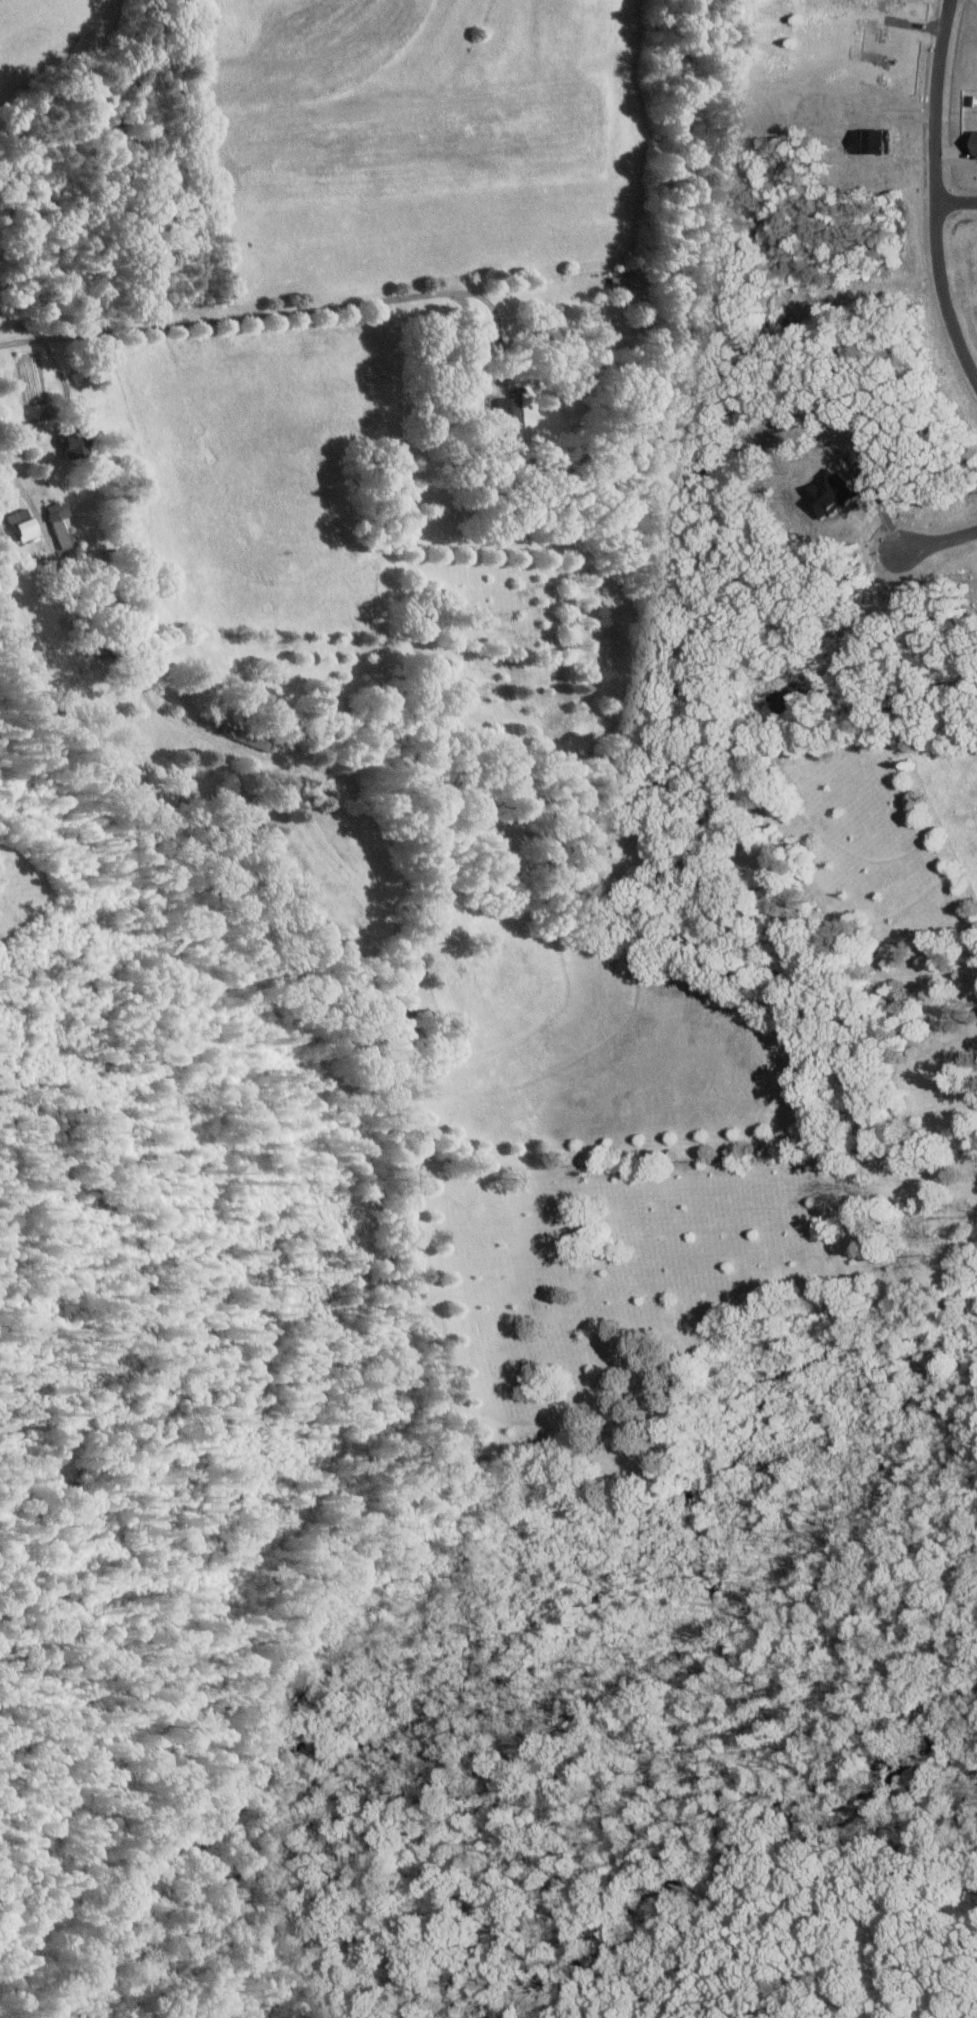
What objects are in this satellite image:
road: (934, 193)
road: (955, 196)
building: (621, 278)
road: (336, 309)
road: (492, 387)
building: (511, 412)
road: (427, 424)
building: (61, 510)
building: (27, 524)
road: (936, 541)
river: (540, 1681)

